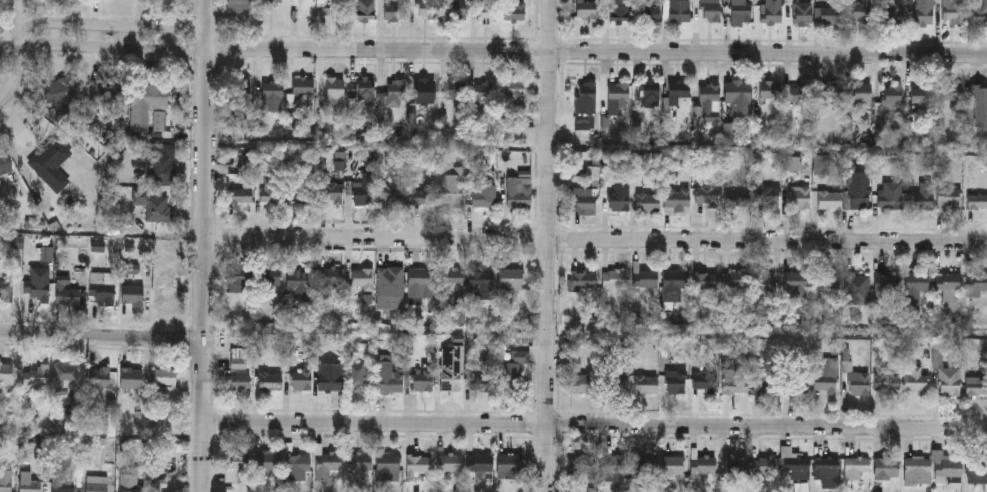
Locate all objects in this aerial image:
building: (312, 0)
building: (272, 1)
building: (240, 6)
building: (366, 10)
building: (427, 10)
building: (454, 10)
building: (514, 10)
building: (586, 10)
building: (710, 10)
building: (740, 10)
building: (619, 11)
building: (647, 11)
building: (678, 11)
building: (395, 12)
building: (487, 12)
building: (861, 12)
building: (892, 12)
building: (924, 12)
building: (979, 12)
building: (802, 13)
building: (771, 14)
building: (954, 14)
building: (828, 15)
road: (25, 23)
road: (505, 51)
road: (17, 78)
building: (335, 87)
building: (301, 88)
building: (364, 88)
building: (456, 88)
building: (769, 89)
building: (424, 90)
building: (679, 90)
building: (951, 90)
building: (981, 90)
building: (61, 91)
building: (485, 91)
building: (830, 91)
building: (861, 91)
building: (516, 92)
building: (650, 92)
building: (242, 93)
building: (395, 93)
building: (800, 93)
building: (893, 93)
building: (921, 93)
building: (105, 94)
building: (272, 95)
building: (738, 96)
building: (586, 98)
building: (618, 98)
building: (708, 100)
building: (147, 103)
building: (729, 130)
building: (4, 161)
building: (51, 164)
building: (821, 164)
building: (158, 166)
building: (0, 185)
building: (858, 190)
building: (273, 191)
building: (363, 191)
building: (452, 191)
building: (304, 192)
building: (391, 192)
building: (519, 192)
building: (331, 193)
building: (706, 194)
building: (890, 195)
building: (420, 196)
building: (484, 196)
building: (621, 196)
building: (737, 197)
building: (767, 197)
building: (799, 197)
building: (923, 197)
building: (948, 197)
building: (677, 199)
building: (829, 200)
building: (977, 201)
building: (583, 202)
building: (647, 202)
building: (154, 205)
road: (597, 241)
road: (207, 245)
road: (549, 245)
building: (269, 276)
building: (330, 276)
building: (451, 276)
building: (420, 277)
building: (362, 278)
building: (645, 278)
building: (298, 279)
building: (511, 279)
building: (614, 279)
building: (675, 279)
building: (735, 279)
building: (583, 280)
building: (705, 280)
building: (948, 281)
building: (887, 282)
building: (764, 283)
building: (796, 283)
building: (238, 284)
building: (482, 284)
building: (976, 284)
building: (390, 287)
building: (826, 287)
building: (102, 288)
building: (857, 288)
building: (915, 288)
building: (6, 290)
building: (36, 291)
building: (167, 292)
building: (133, 295)
building: (67, 296)
road: (103, 339)
building: (239, 357)
building: (452, 367)
building: (516, 368)
building: (67, 371)
building: (5, 372)
building: (36, 374)
building: (359, 375)
building: (422, 375)
building: (575, 375)
building: (825, 375)
building: (330, 376)
building: (391, 376)
building: (99, 377)
building: (165, 377)
building: (131, 378)
building: (302, 379)
building: (916, 379)
building: (704, 380)
building: (735, 380)
building: (270, 381)
building: (676, 381)
building: (781, 381)
building: (949, 381)
building: (237, 382)
building: (483, 382)
building: (858, 382)
building: (617, 383)
building: (645, 383)
building: (887, 383)
building: (976, 385)
road: (596, 426)
building: (267, 460)
building: (449, 461)
building: (479, 462)
building: (793, 462)
building: (326, 463)
building: (358, 463)
building: (419, 463)
building: (580, 463)
building: (235, 464)
building: (703, 464)
building: (766, 464)
building: (509, 465)
building: (387, 466)
building: (640, 466)
building: (671, 466)
building: (827, 466)
building: (855, 466)
building: (945, 466)
building: (297, 467)
building: (612, 467)
building: (736, 467)
building: (885, 467)
building: (917, 469)
building: (977, 470)
building: (5, 480)
building: (29, 485)
building: (95, 485)
building: (132, 485)
building: (59, 486)
building: (161, 486)

